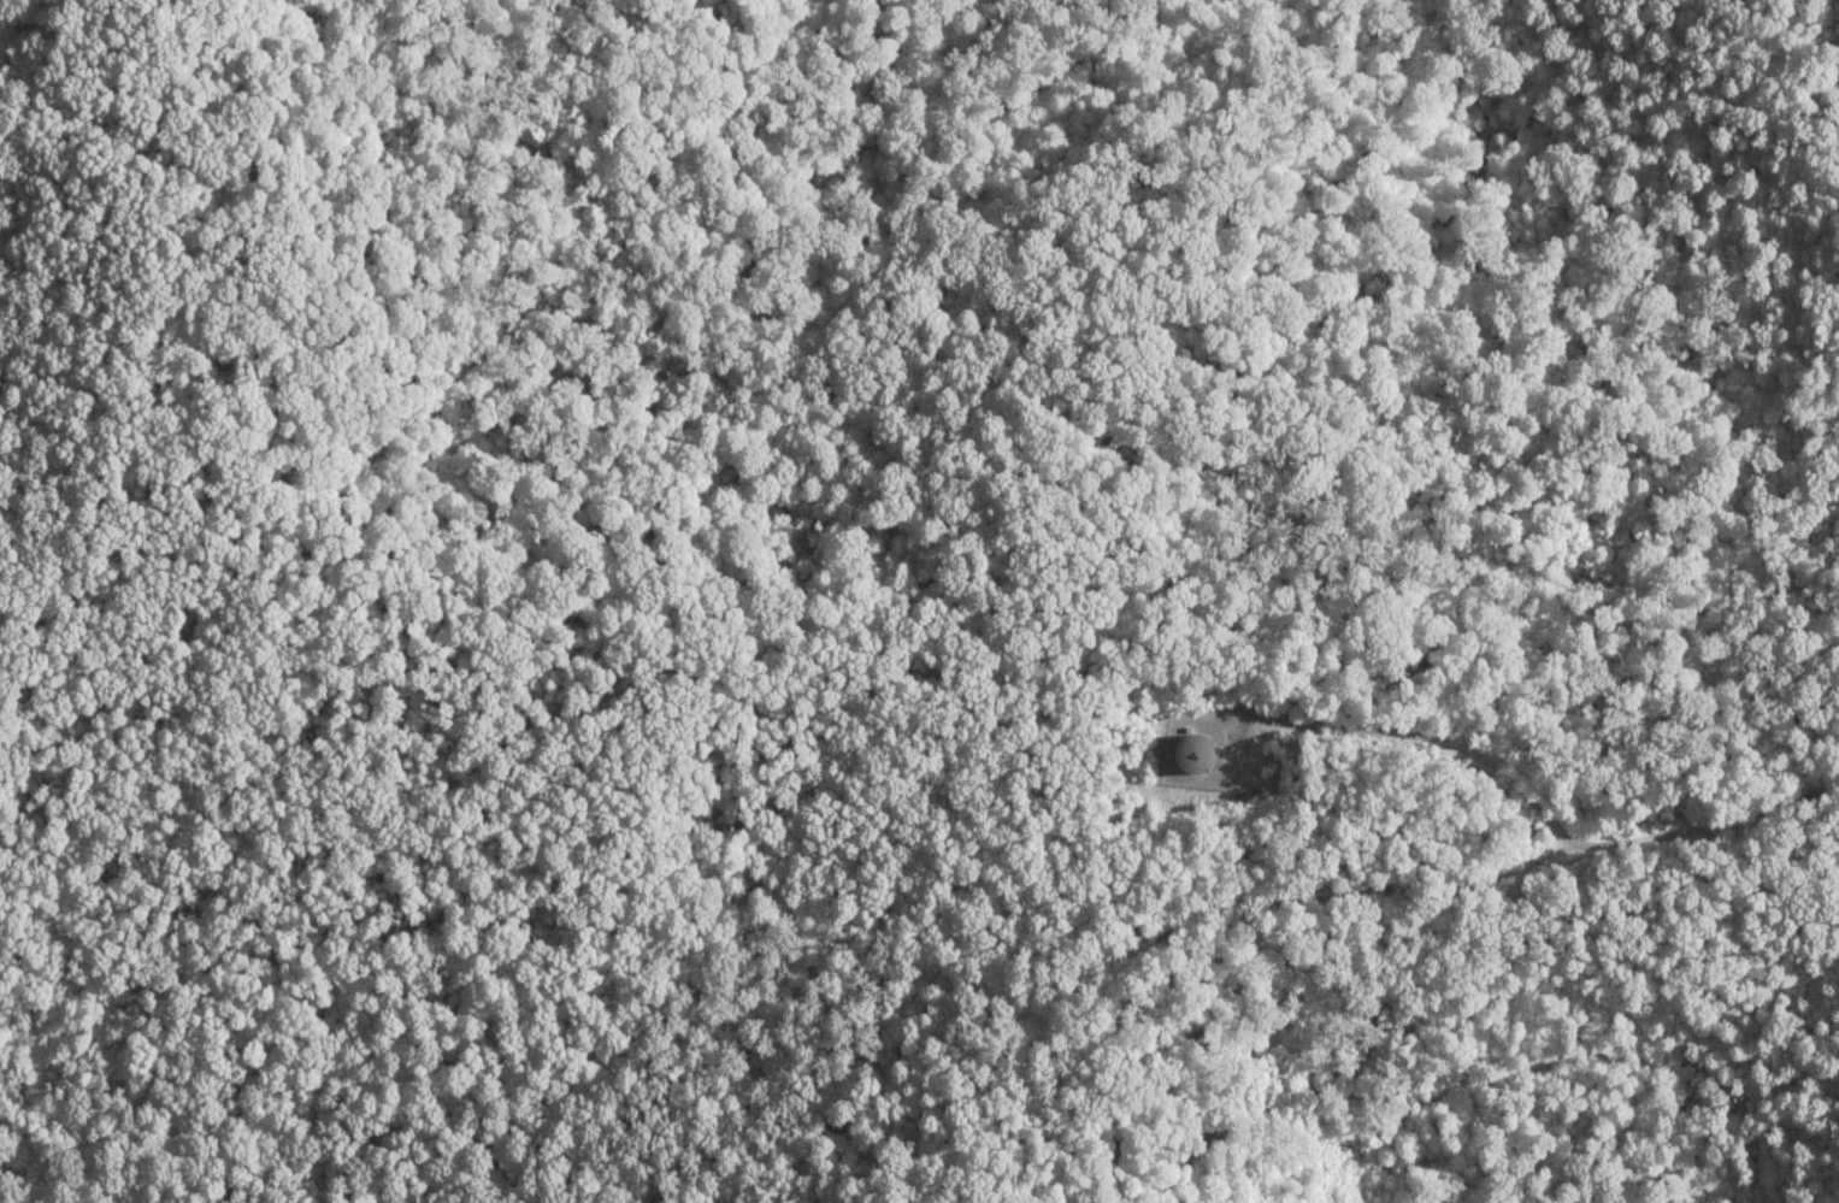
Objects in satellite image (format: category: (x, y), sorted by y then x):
building: (1191, 755)
road: (1832, 759)
road: (1340, 843)

